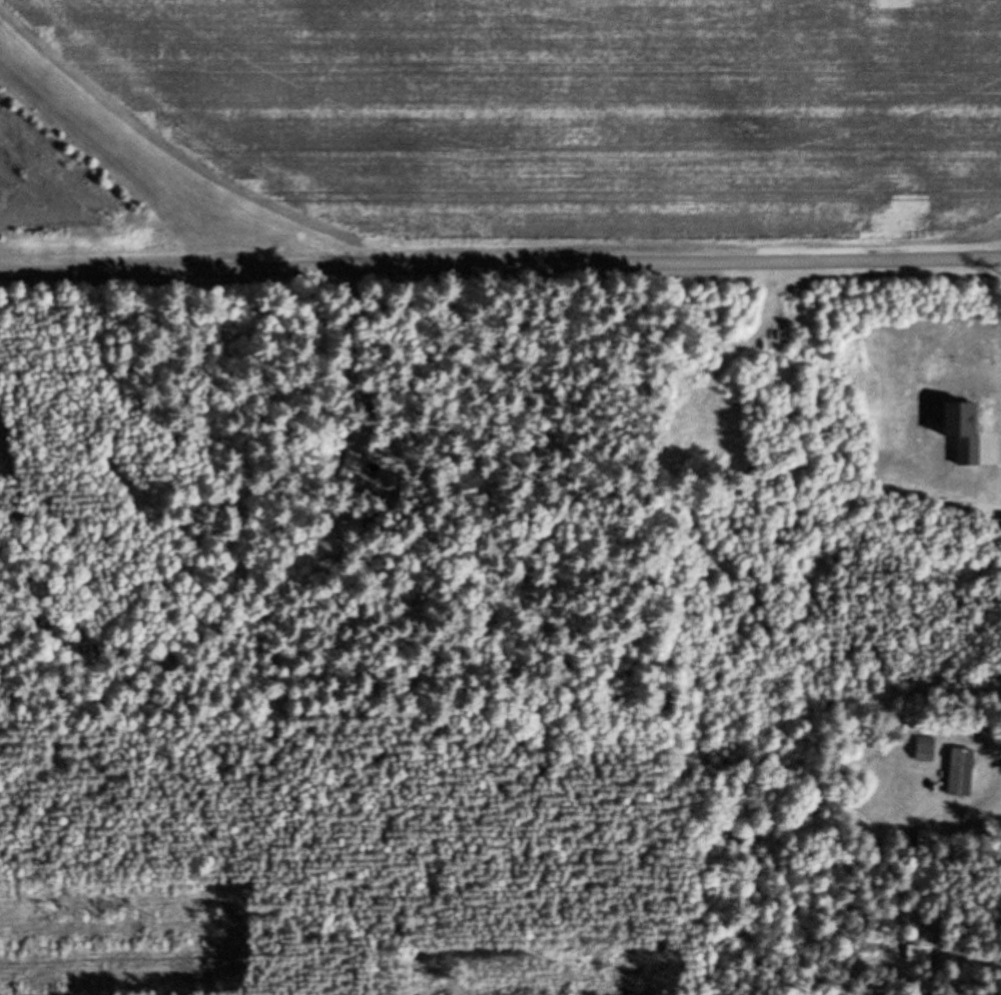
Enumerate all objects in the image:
crop: (498, 115)
road: (500, 266)
building: (928, 749)
building: (965, 772)
road: (764, 963)
road: (992, 989)

